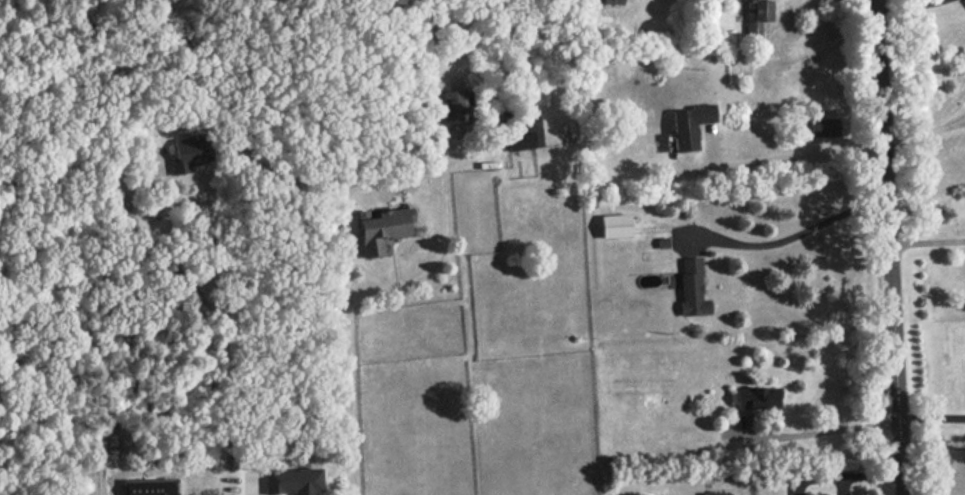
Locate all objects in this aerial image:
building: (612, 1)
road: (909, 7)
building: (755, 17)
building: (454, 105)
building: (688, 124)
building: (822, 126)
building: (523, 132)
road: (924, 133)
building: (188, 153)
road: (787, 156)
building: (616, 225)
building: (382, 226)
road: (790, 235)
road: (926, 241)
road: (887, 247)
road: (340, 279)
building: (692, 287)
road: (210, 311)
building: (755, 397)
road: (932, 431)
road: (820, 432)
road: (848, 472)
building: (293, 480)
building: (148, 486)
building: (714, 493)

